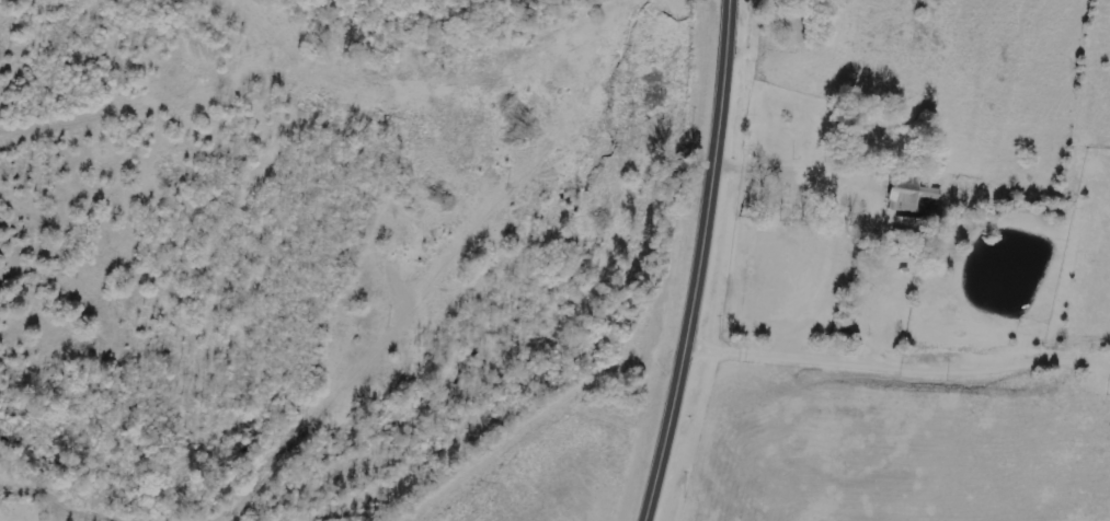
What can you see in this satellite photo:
building: (912, 196)
road: (703, 262)

